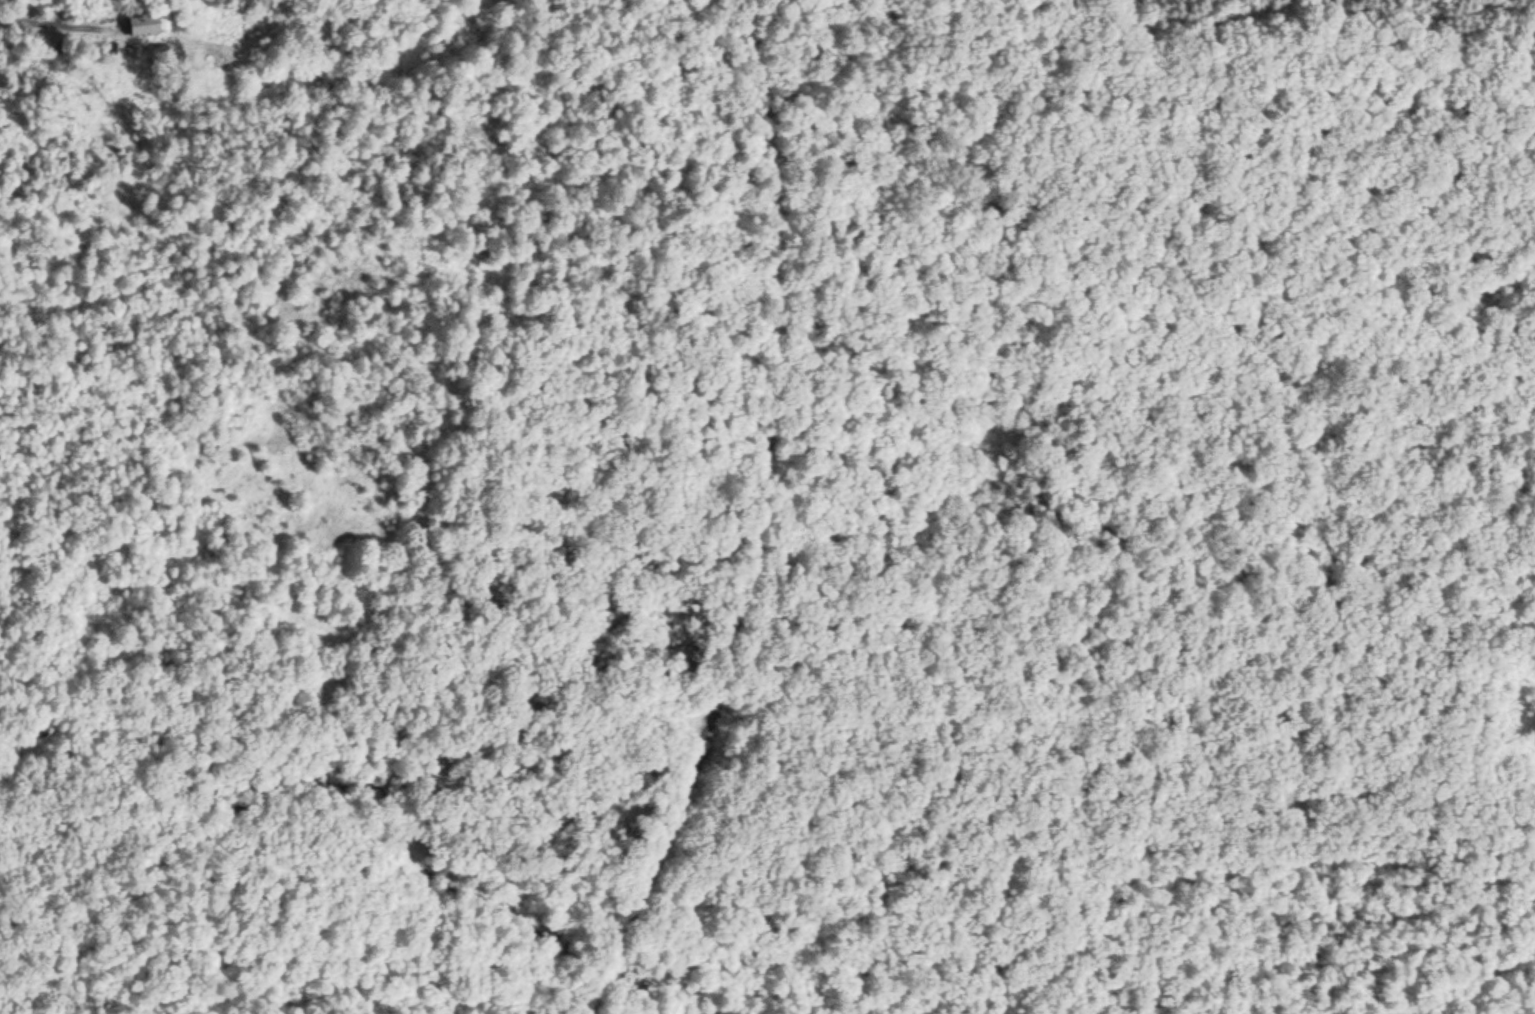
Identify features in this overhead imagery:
building: (142, 24)

